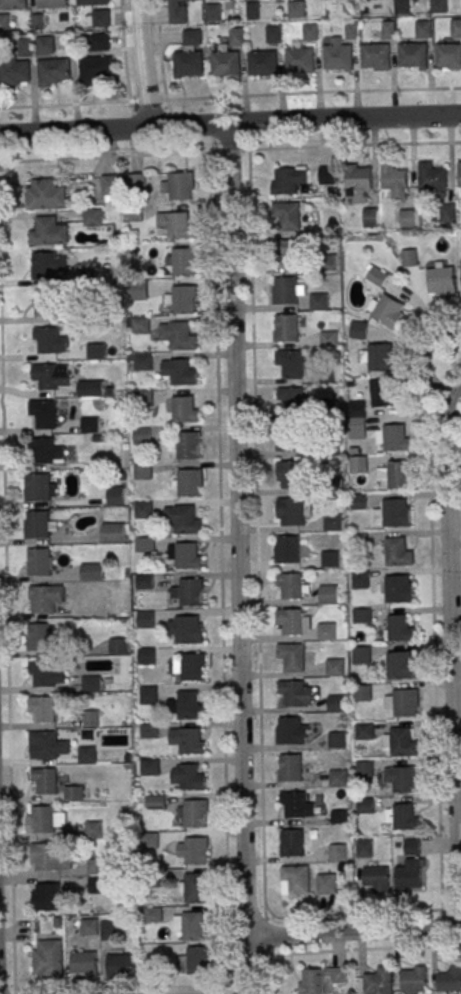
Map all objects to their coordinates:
building: (92, 2)
building: (51, 3)
building: (12, 4)
building: (402, 6)
building: (438, 6)
building: (334, 8)
building: (296, 9)
building: (252, 10)
building: (178, 11)
building: (213, 12)
building: (101, 18)
building: (4, 22)
building: (38, 22)
building: (456, 27)
building: (388, 28)
building: (423, 28)
building: (351, 29)
building: (311, 31)
building: (273, 33)
building: (236, 36)
building: (192, 37)
building: (100, 41)
building: (46, 44)
building: (26, 46)
building: (413, 55)
building: (375, 56)
building: (448, 56)
building: (337, 57)
building: (299, 59)
road: (141, 63)
building: (225, 63)
building: (262, 63)
building: (94, 69)
building: (52, 71)
building: (13, 73)
road: (230, 95)
road: (230, 123)
road: (230, 149)
building: (326, 175)
building: (459, 175)
building: (432, 178)
building: (287, 179)
building: (394, 181)
building: (358, 183)
building: (179, 186)
building: (110, 188)
building: (44, 194)
building: (447, 213)
building: (288, 215)
building: (91, 216)
building: (370, 217)
building: (407, 218)
building: (176, 223)
building: (49, 230)
building: (289, 252)
building: (409, 258)
building: (181, 260)
building: (326, 262)
building: (47, 265)
building: (376, 275)
building: (441, 281)
building: (292, 288)
building: (139, 289)
building: (181, 299)
building: (318, 301)
building: (46, 303)
building: (386, 310)
building: (91, 314)
building: (141, 325)
building: (283, 328)
building: (358, 329)
building: (179, 335)
building: (329, 338)
building: (50, 340)
building: (96, 350)
building: (377, 356)
building: (143, 361)
road: (426, 361)
building: (290, 363)
building: (180, 371)
building: (326, 375)
building: (53, 376)
building: (90, 388)
building: (381, 392)
building: (144, 399)
building: (291, 400)
building: (357, 408)
building: (182, 409)
building: (329, 409)
building: (43, 413)
building: (90, 425)
building: (357, 425)
building: (142, 436)
building: (393, 437)
building: (287, 441)
building: (187, 445)
building: (331, 447)
building: (45, 451)
building: (358, 464)
building: (143, 473)
building: (290, 474)
building: (397, 474)
building: (188, 482)
building: (36, 487)
road: (218, 493)
building: (116, 495)
building: (144, 510)
building: (291, 511)
building: (396, 513)
building: (183, 519)
building: (333, 522)
building: (38, 524)
road: (236, 531)
road: (256, 532)
building: (114, 533)
building: (146, 545)
building: (287, 549)
building: (397, 552)
building: (186, 555)
building: (330, 559)
building: (41, 561)
building: (92, 570)
building: (360, 579)
building: (145, 581)
building: (291, 585)
building: (398, 589)
building: (191, 592)
building: (330, 595)
building: (45, 598)
building: (362, 615)
building: (146, 619)
building: (291, 622)
building: (400, 627)
building: (187, 629)
building: (327, 631)
building: (39, 636)
building: (118, 646)
building: (362, 654)
building: (148, 656)
building: (292, 657)
road: (451, 661)
building: (400, 665)
building: (192, 666)
building: (336, 667)
building: (45, 674)
building: (91, 683)
building: (295, 693)
building: (364, 693)
building: (149, 694)
road: (435, 699)
building: (407, 702)
building: (337, 703)
building: (188, 705)
building: (41, 709)
building: (92, 718)
building: (292, 730)
building: (366, 731)
building: (150, 732)
building: (338, 739)
building: (190, 741)
building: (404, 742)
building: (45, 744)
building: (87, 754)
building: (152, 767)
building: (291, 767)
building: (366, 769)
building: (188, 776)
building: (339, 778)
building: (403, 778)
building: (45, 780)
building: (73, 793)
building: (155, 801)
building: (296, 804)
building: (366, 806)
building: (195, 813)
building: (402, 817)
building: (47, 819)
building: (94, 829)
building: (293, 843)
building: (412, 847)
building: (365, 848)
building: (196, 850)
building: (340, 852)
building: (51, 857)
building: (97, 867)
building: (410, 874)
building: (377, 878)
building: (297, 879)
building: (327, 884)
building: (97, 885)
building: (195, 888)
building: (46, 896)
building: (152, 914)
building: (192, 925)
building: (90, 927)
building: (109, 929)
road: (353, 930)
road: (348, 950)
building: (47, 959)
building: (195, 961)
building: (83, 964)
building: (120, 965)
road: (246, 967)
building: (319, 979)
building: (413, 979)
building: (450, 979)
building: (379, 981)

